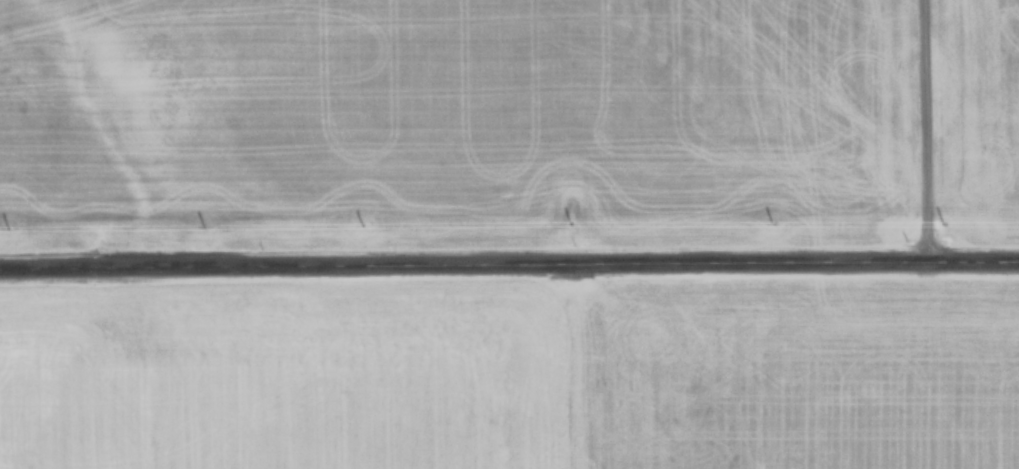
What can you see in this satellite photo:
road: (921, 128)
road: (509, 257)

